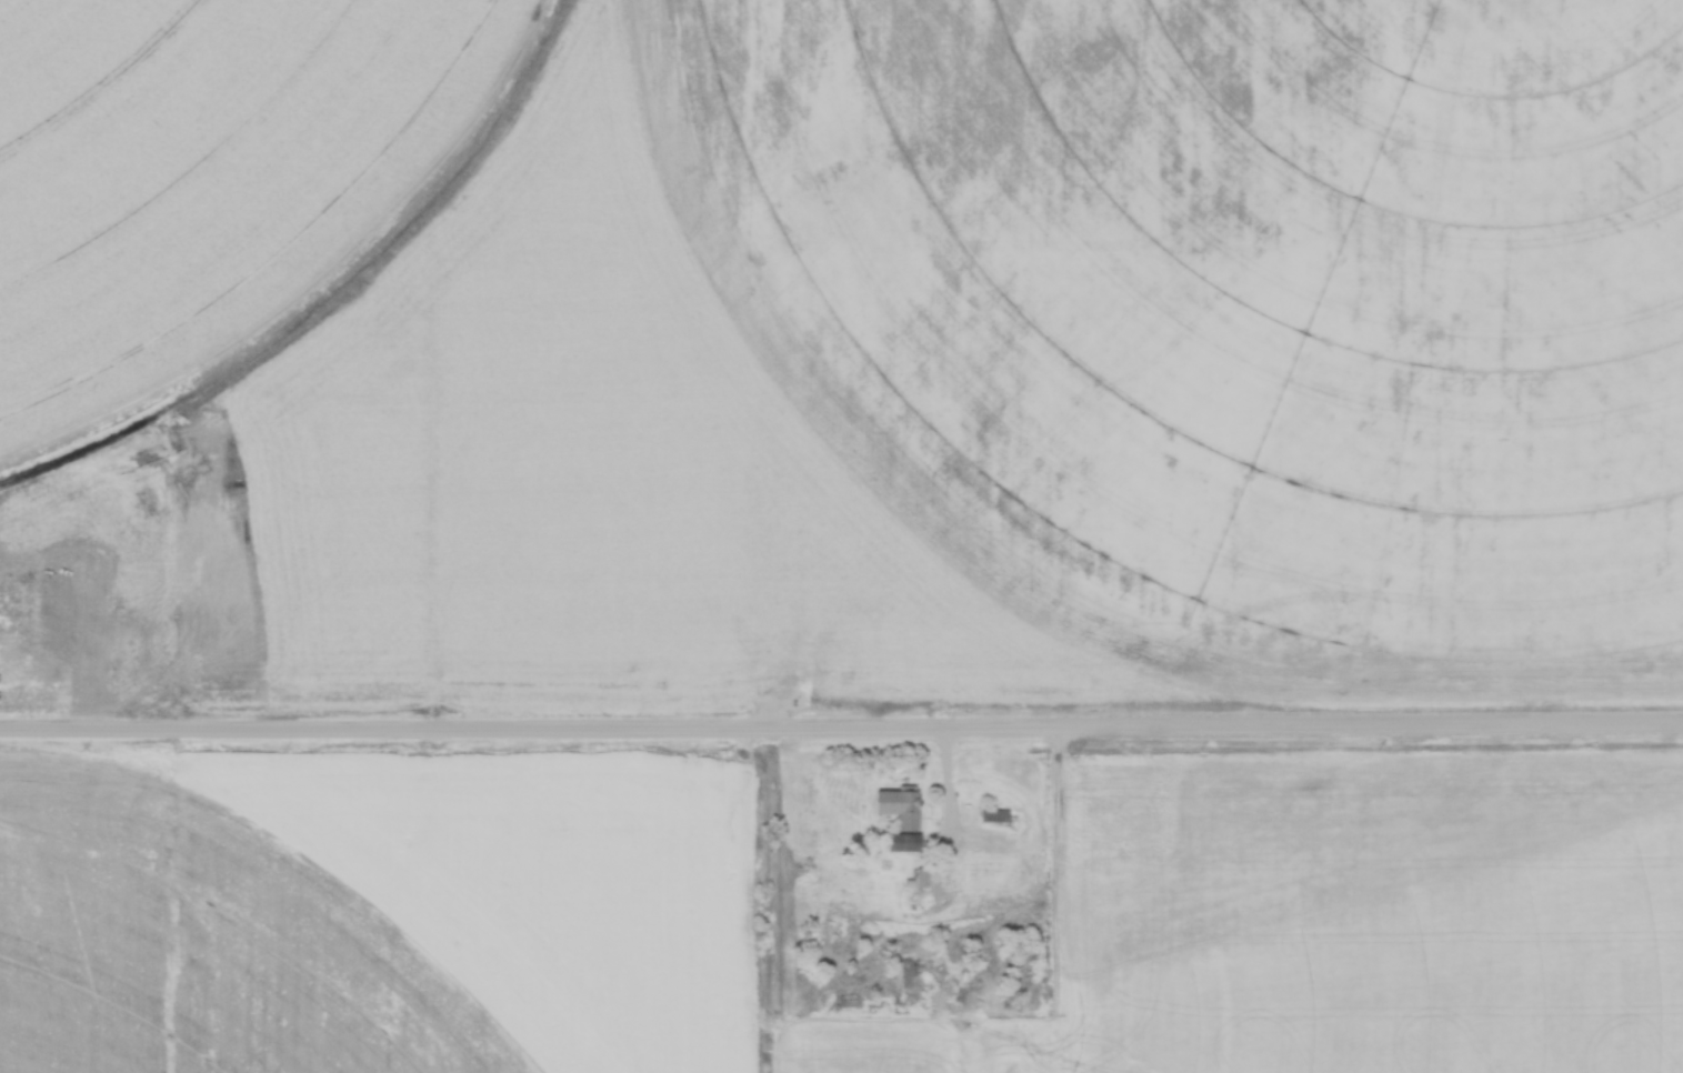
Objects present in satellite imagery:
road: (841, 731)
building: (900, 808)
building: (994, 815)
building: (904, 975)
building: (848, 1000)

